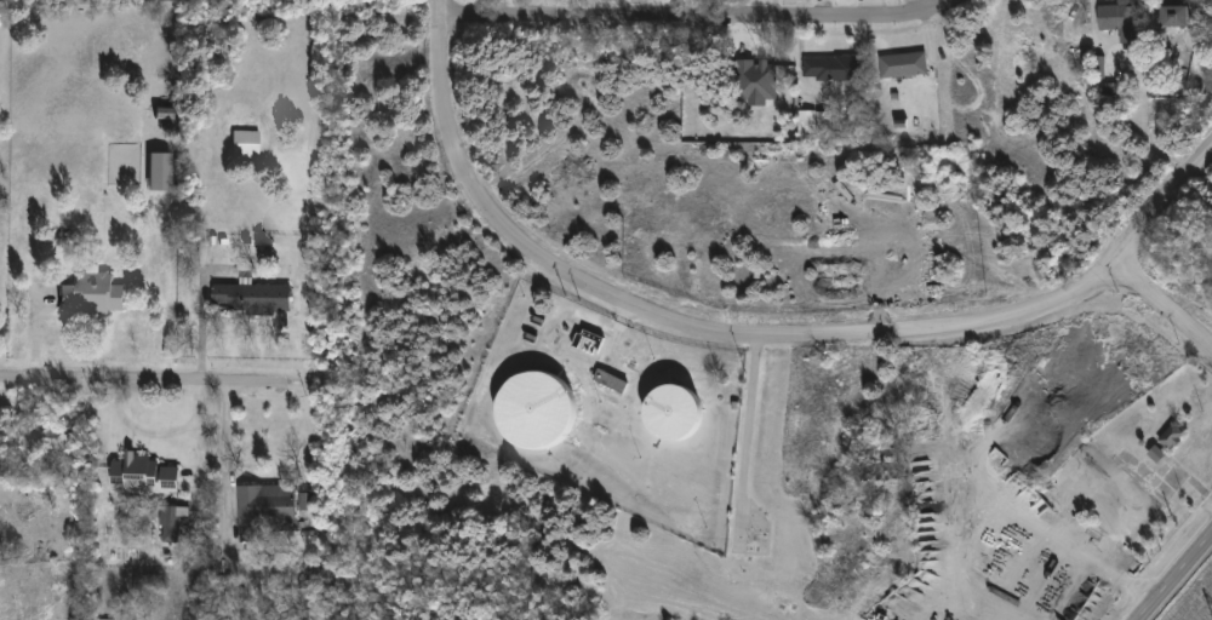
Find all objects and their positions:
building: (1172, 17)
road: (705, 18)
building: (1119, 22)
building: (902, 67)
building: (830, 69)
building: (755, 81)
building: (1109, 88)
building: (164, 111)
building: (813, 121)
building: (246, 143)
building: (159, 171)
building: (90, 292)
building: (248, 295)
road: (1161, 305)
road: (762, 337)
building: (588, 344)
road: (155, 378)
building: (608, 383)
building: (536, 407)
water tower: (536, 407)
building: (674, 409)
water tower: (675, 409)
road: (155, 430)
building: (55, 437)
building: (1170, 438)
road: (225, 457)
building: (141, 473)
building: (305, 501)
building: (262, 507)
building: (170, 521)
road: (1053, 542)
road: (1172, 574)
building: (104, 619)

